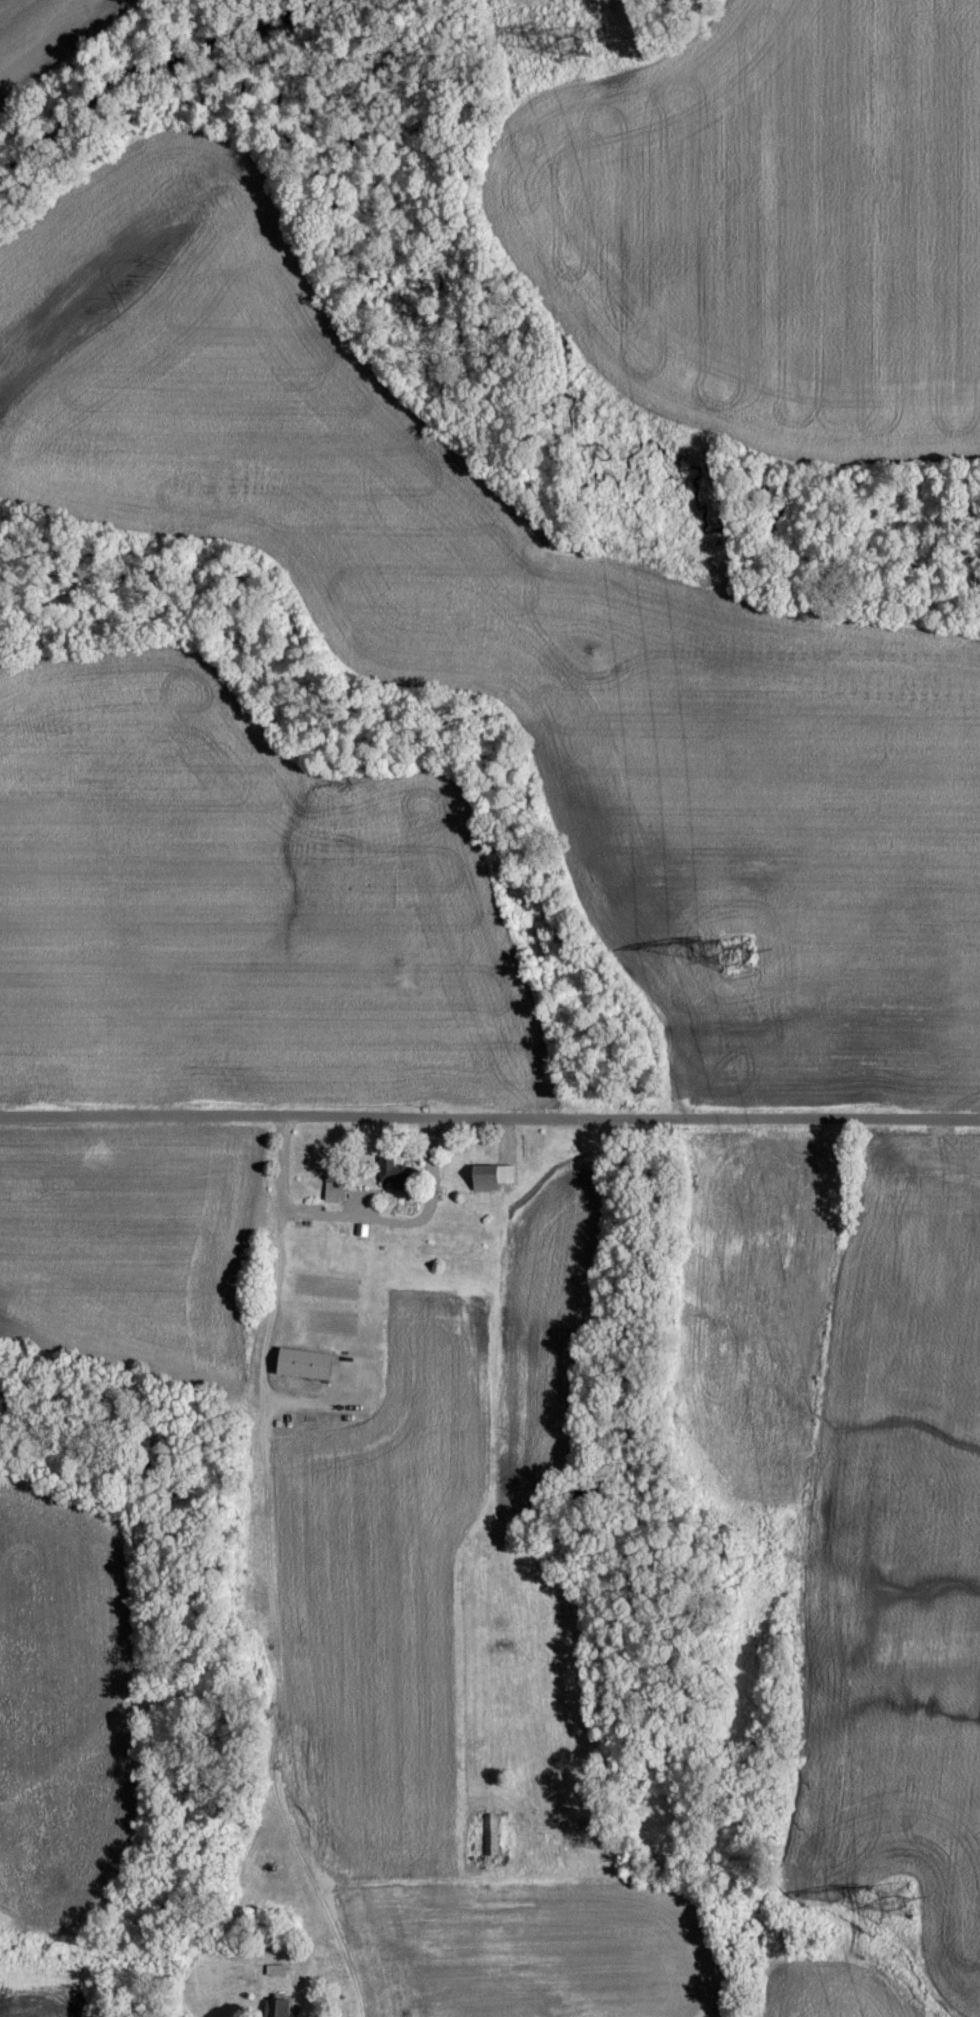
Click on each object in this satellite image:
power tower: (577, 54)
power tower: (743, 963)
road: (489, 1121)
building: (397, 1184)
building: (495, 1186)
building: (337, 1200)
road: (363, 1219)
building: (309, 1373)
building: (490, 1845)
power tower: (903, 1911)
building: (277, 1980)
building: (279, 2012)

